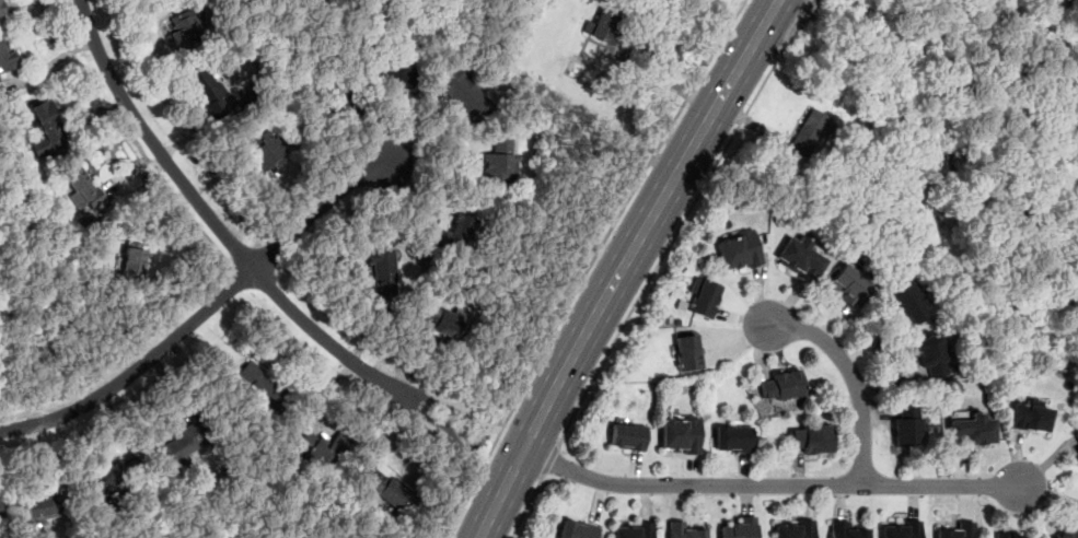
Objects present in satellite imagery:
building: (1076, 1)
building: (1, 10)
building: (601, 26)
road: (795, 26)
building: (186, 31)
building: (8, 57)
building: (391, 74)
road: (669, 80)
building: (462, 93)
building: (209, 94)
building: (333, 103)
building: (46, 128)
building: (808, 131)
building: (265, 143)
building: (499, 161)
building: (80, 185)
road: (318, 209)
road: (212, 220)
building: (453, 233)
road: (668, 248)
building: (738, 250)
building: (132, 257)
building: (799, 258)
road: (590, 266)
road: (622, 266)
building: (381, 271)
building: (848, 284)
building: (702, 296)
building: (906, 301)
building: (439, 318)
building: (686, 350)
building: (930, 355)
road: (137, 369)
road: (850, 376)
building: (259, 384)
building: (781, 384)
building: (1029, 418)
building: (905, 424)
road: (488, 426)
building: (970, 431)
building: (680, 434)
building: (626, 435)
building: (731, 437)
building: (809, 438)
road: (478, 441)
building: (1075, 441)
building: (182, 442)
building: (321, 448)
road: (549, 459)
building: (109, 480)
road: (769, 484)
building: (385, 487)
road: (528, 506)
building: (42, 508)
building: (738, 527)
building: (792, 528)
building: (900, 528)
building: (575, 529)
building: (846, 529)
building: (631, 530)
building: (683, 530)
building: (955, 530)
building: (1066, 534)
building: (1010, 536)

